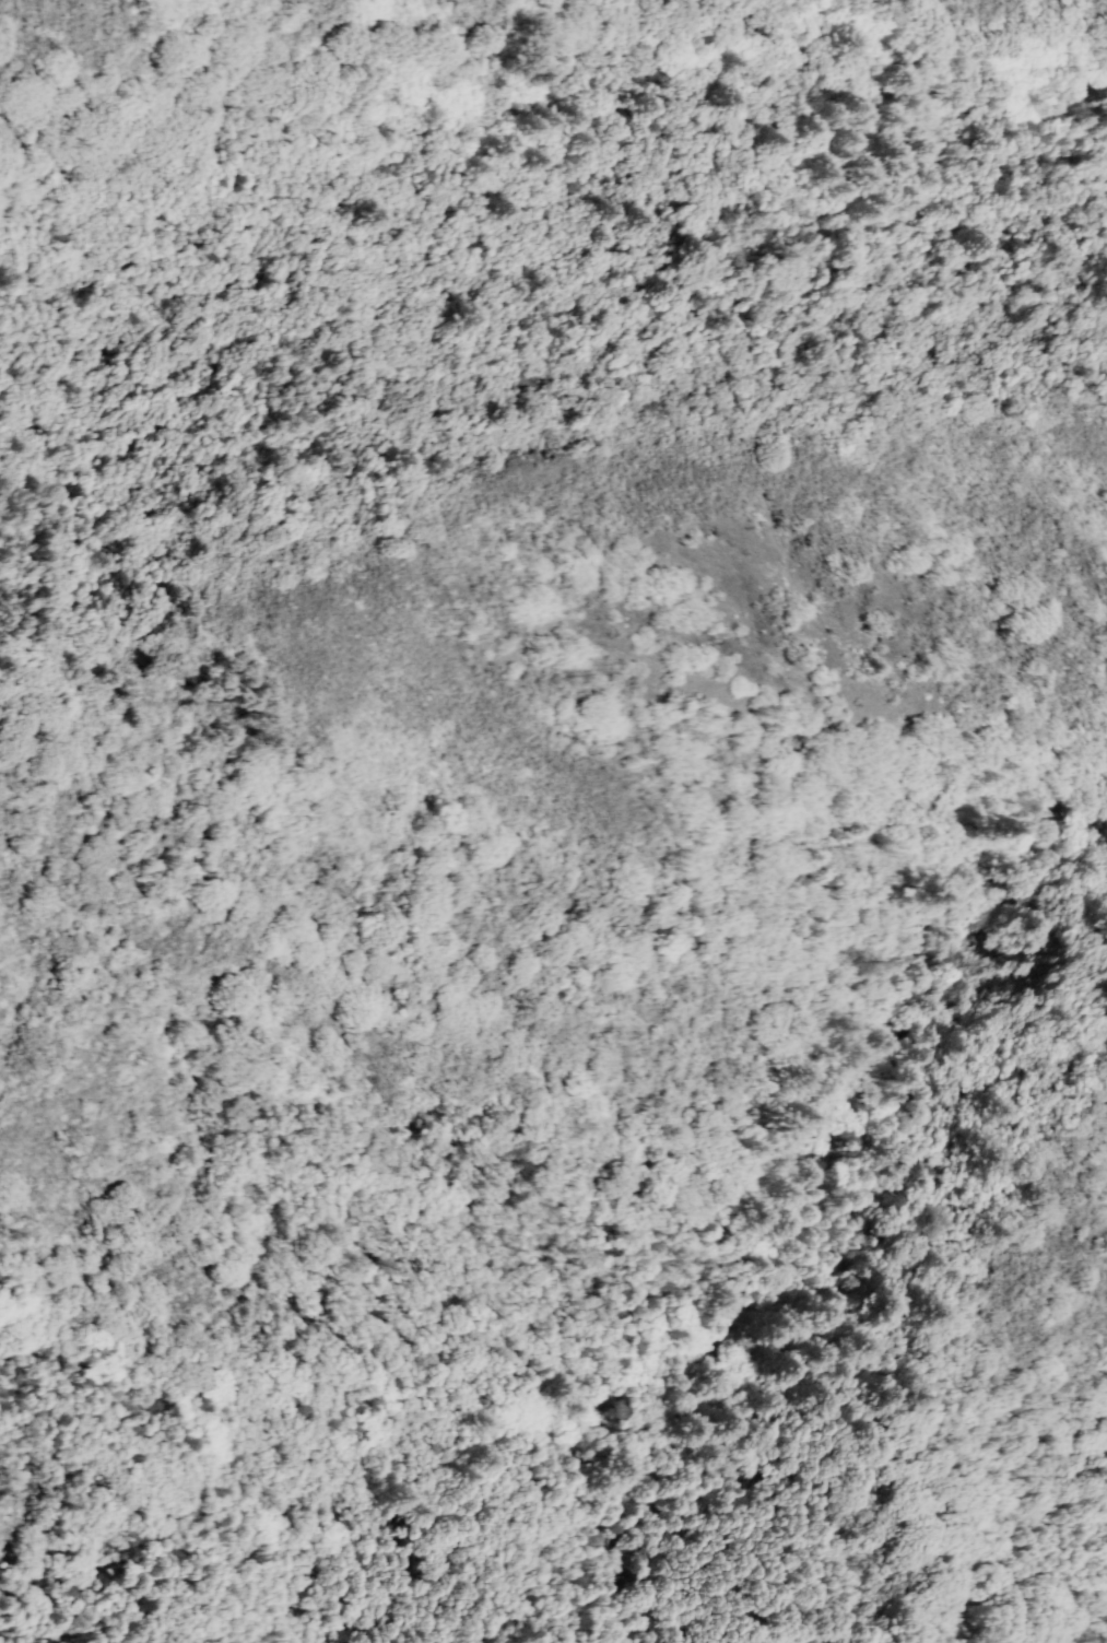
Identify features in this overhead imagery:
road: (994, 564)
road: (1084, 634)

